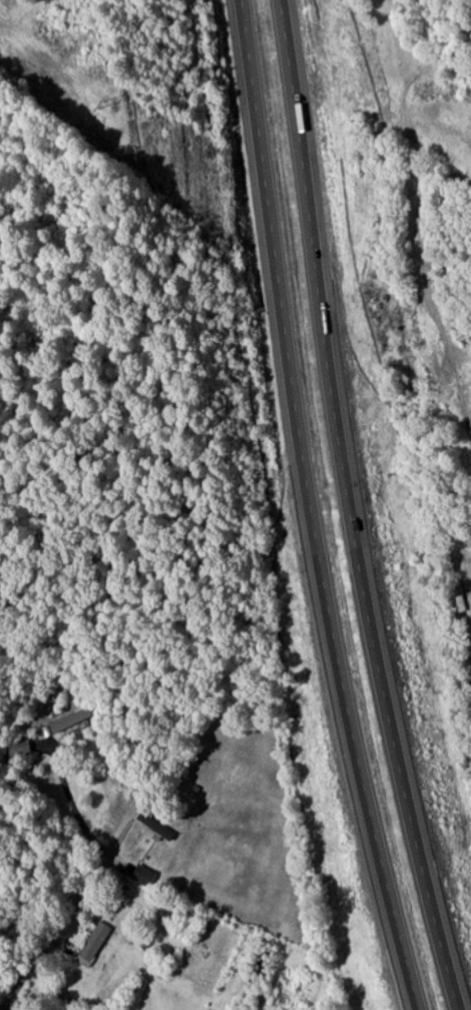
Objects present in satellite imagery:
road: (308, 508)
road: (352, 508)
building: (74, 720)
building: (146, 876)
road: (49, 940)
building: (96, 944)

